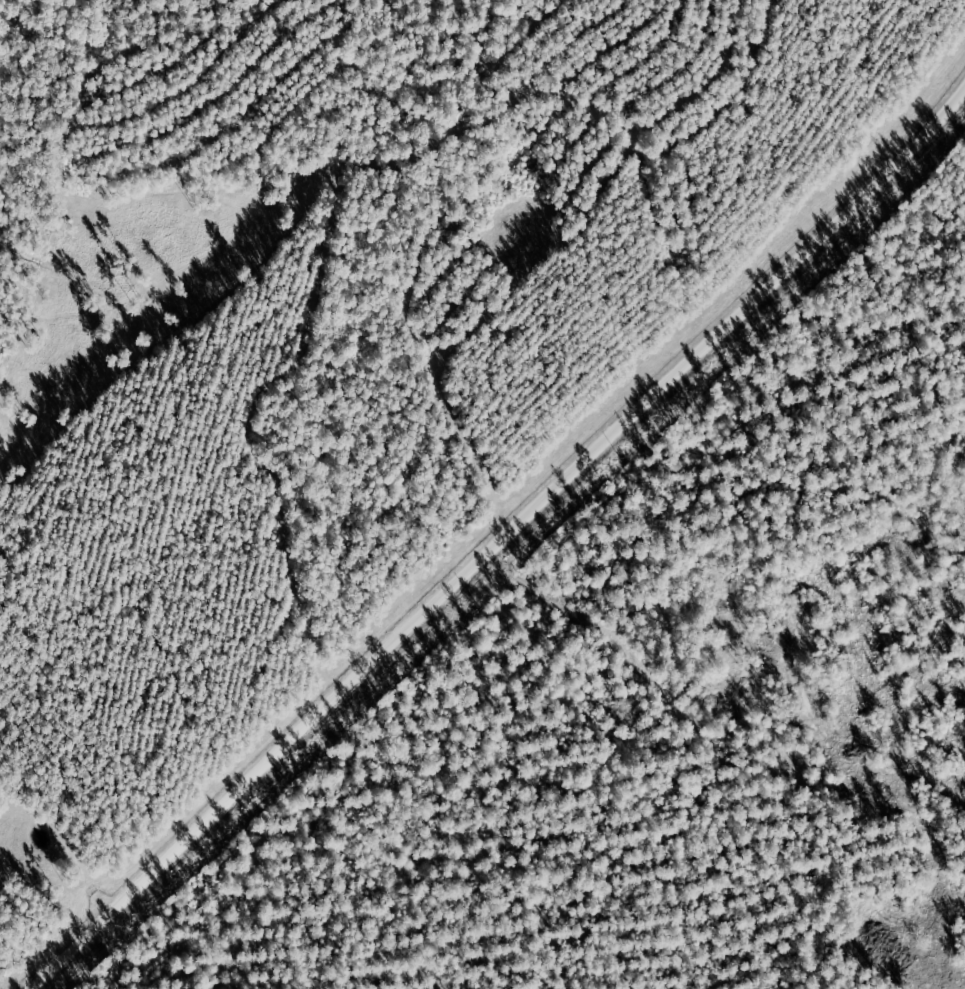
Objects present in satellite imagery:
road: (501, 541)

